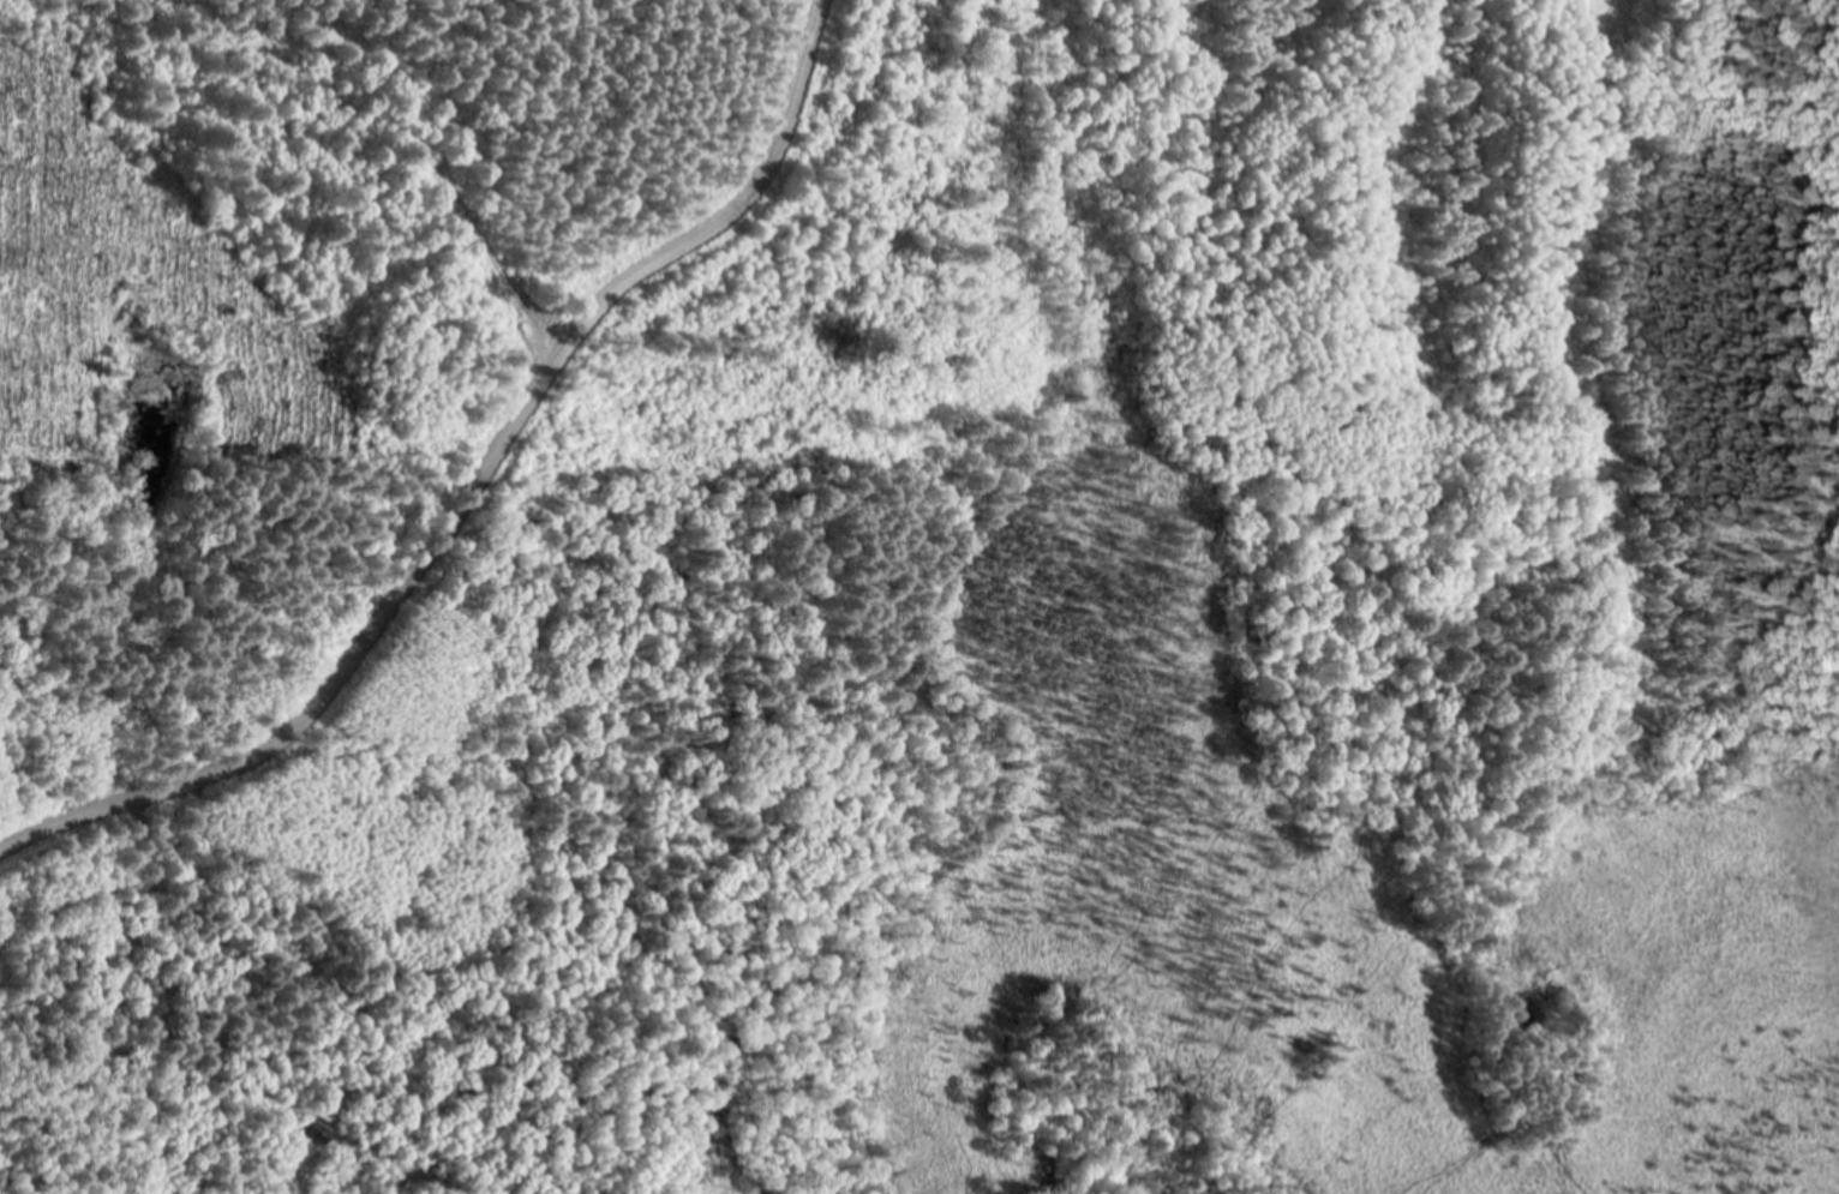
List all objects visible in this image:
road: (478, 496)

